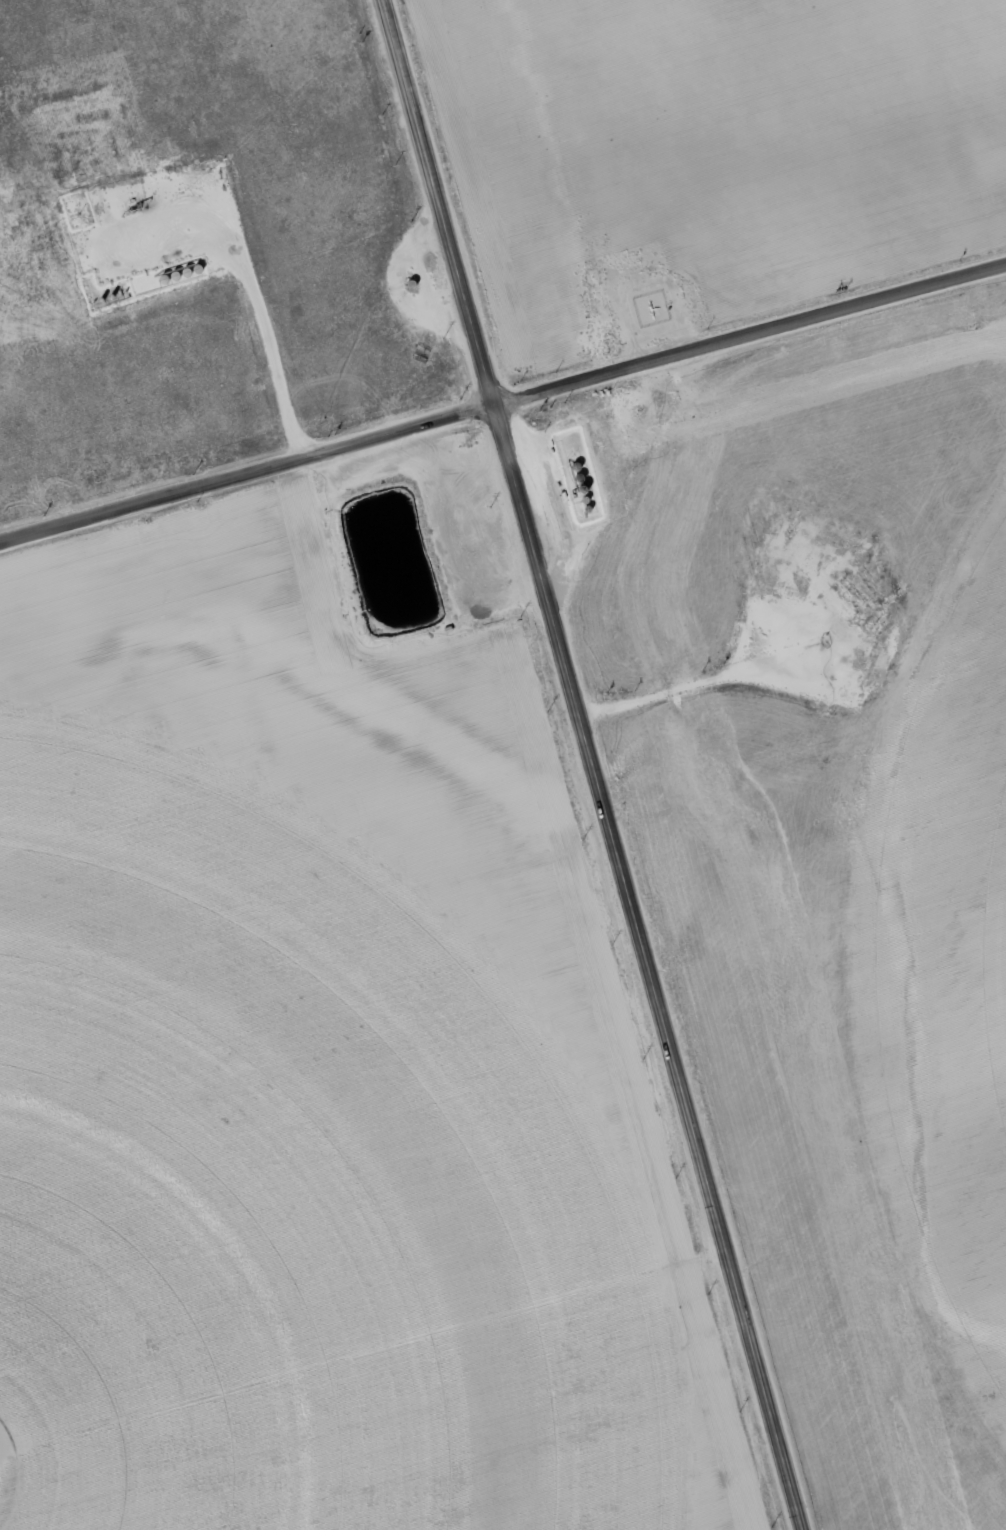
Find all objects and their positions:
petroleum well: (140, 205)
road: (503, 403)
road: (590, 765)

